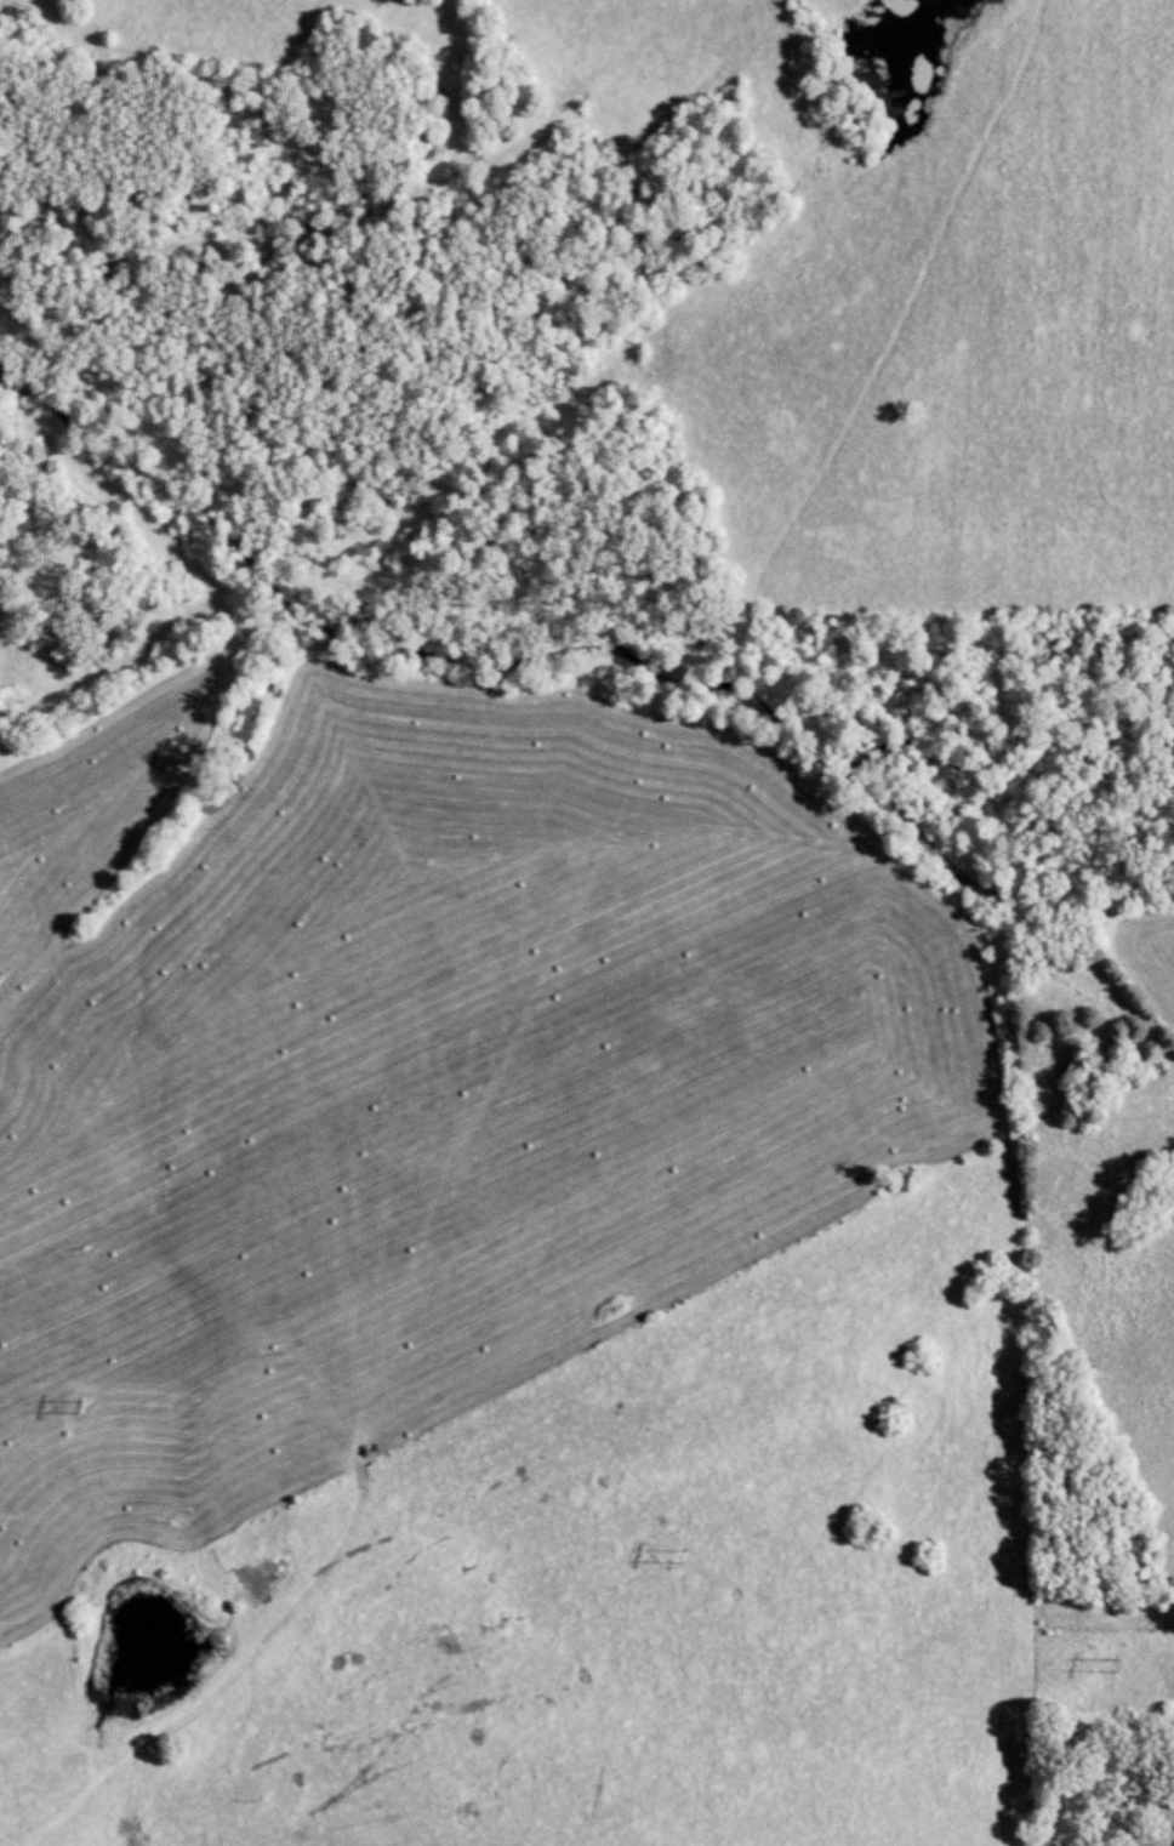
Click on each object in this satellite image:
power tower: (78, 1408)
power tower: (684, 1560)
power tower: (1119, 1668)

